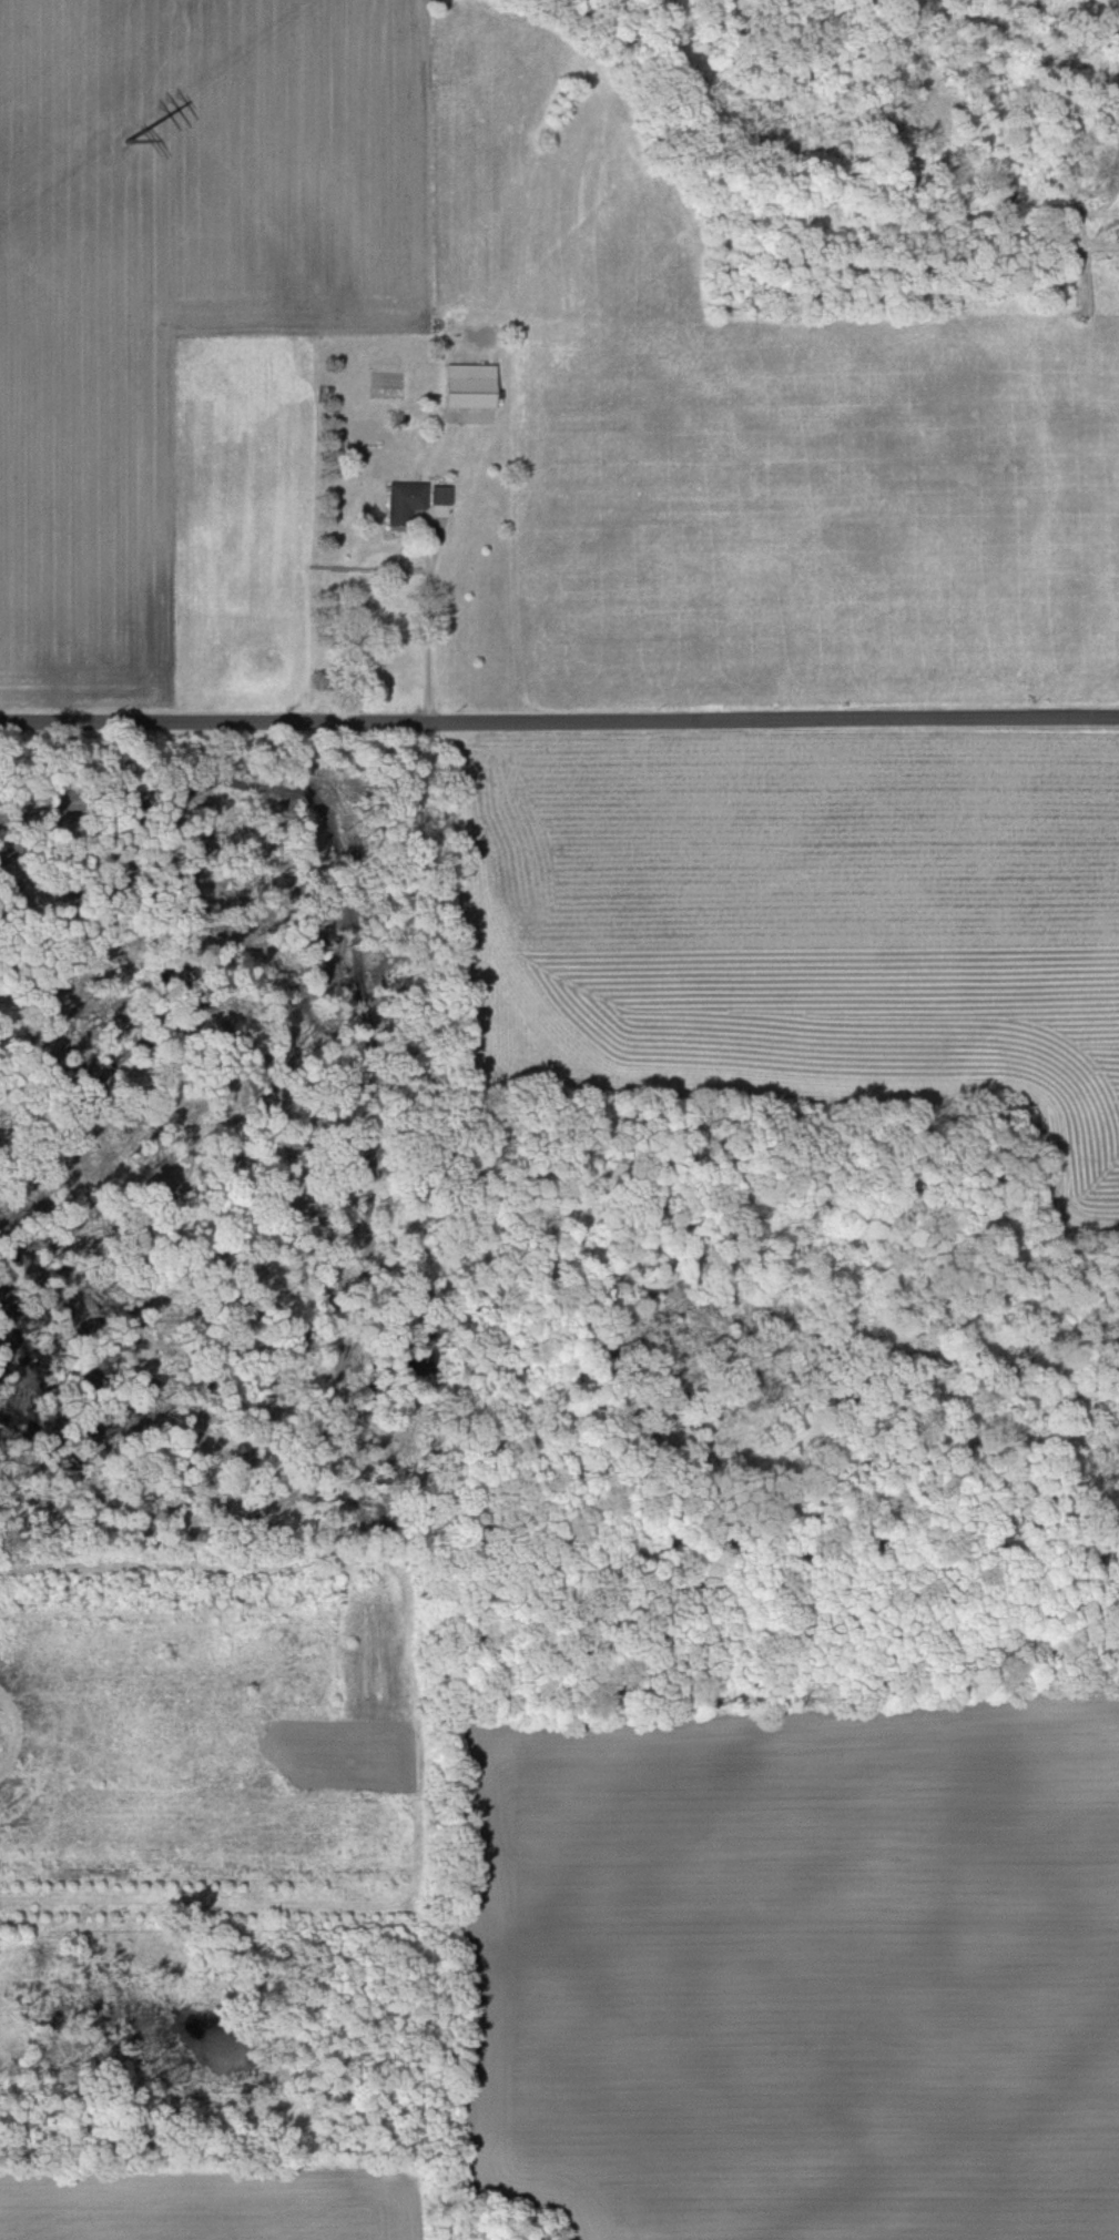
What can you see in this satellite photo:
power tower: (125, 134)
building: (468, 386)
building: (401, 501)
road: (429, 632)
road: (559, 721)

